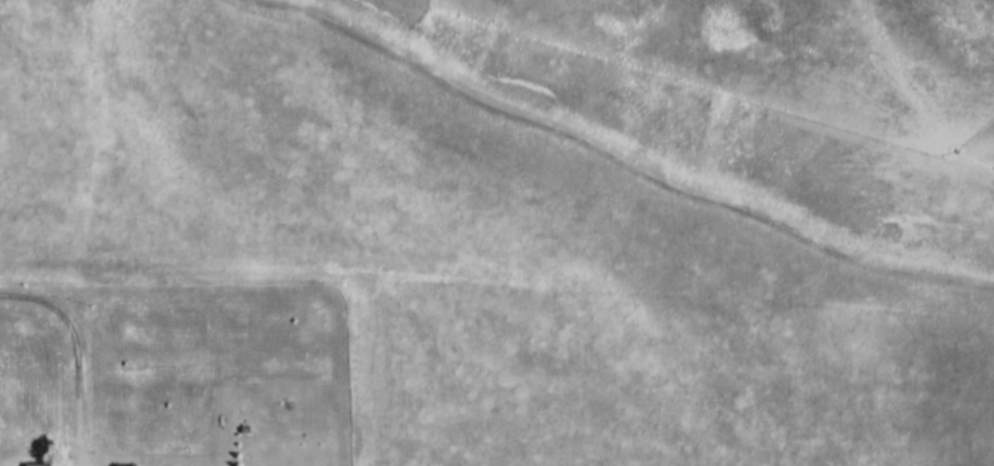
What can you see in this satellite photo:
road: (38, 290)
road: (289, 294)
building: (32, 324)
road: (78, 377)
road: (220, 379)

